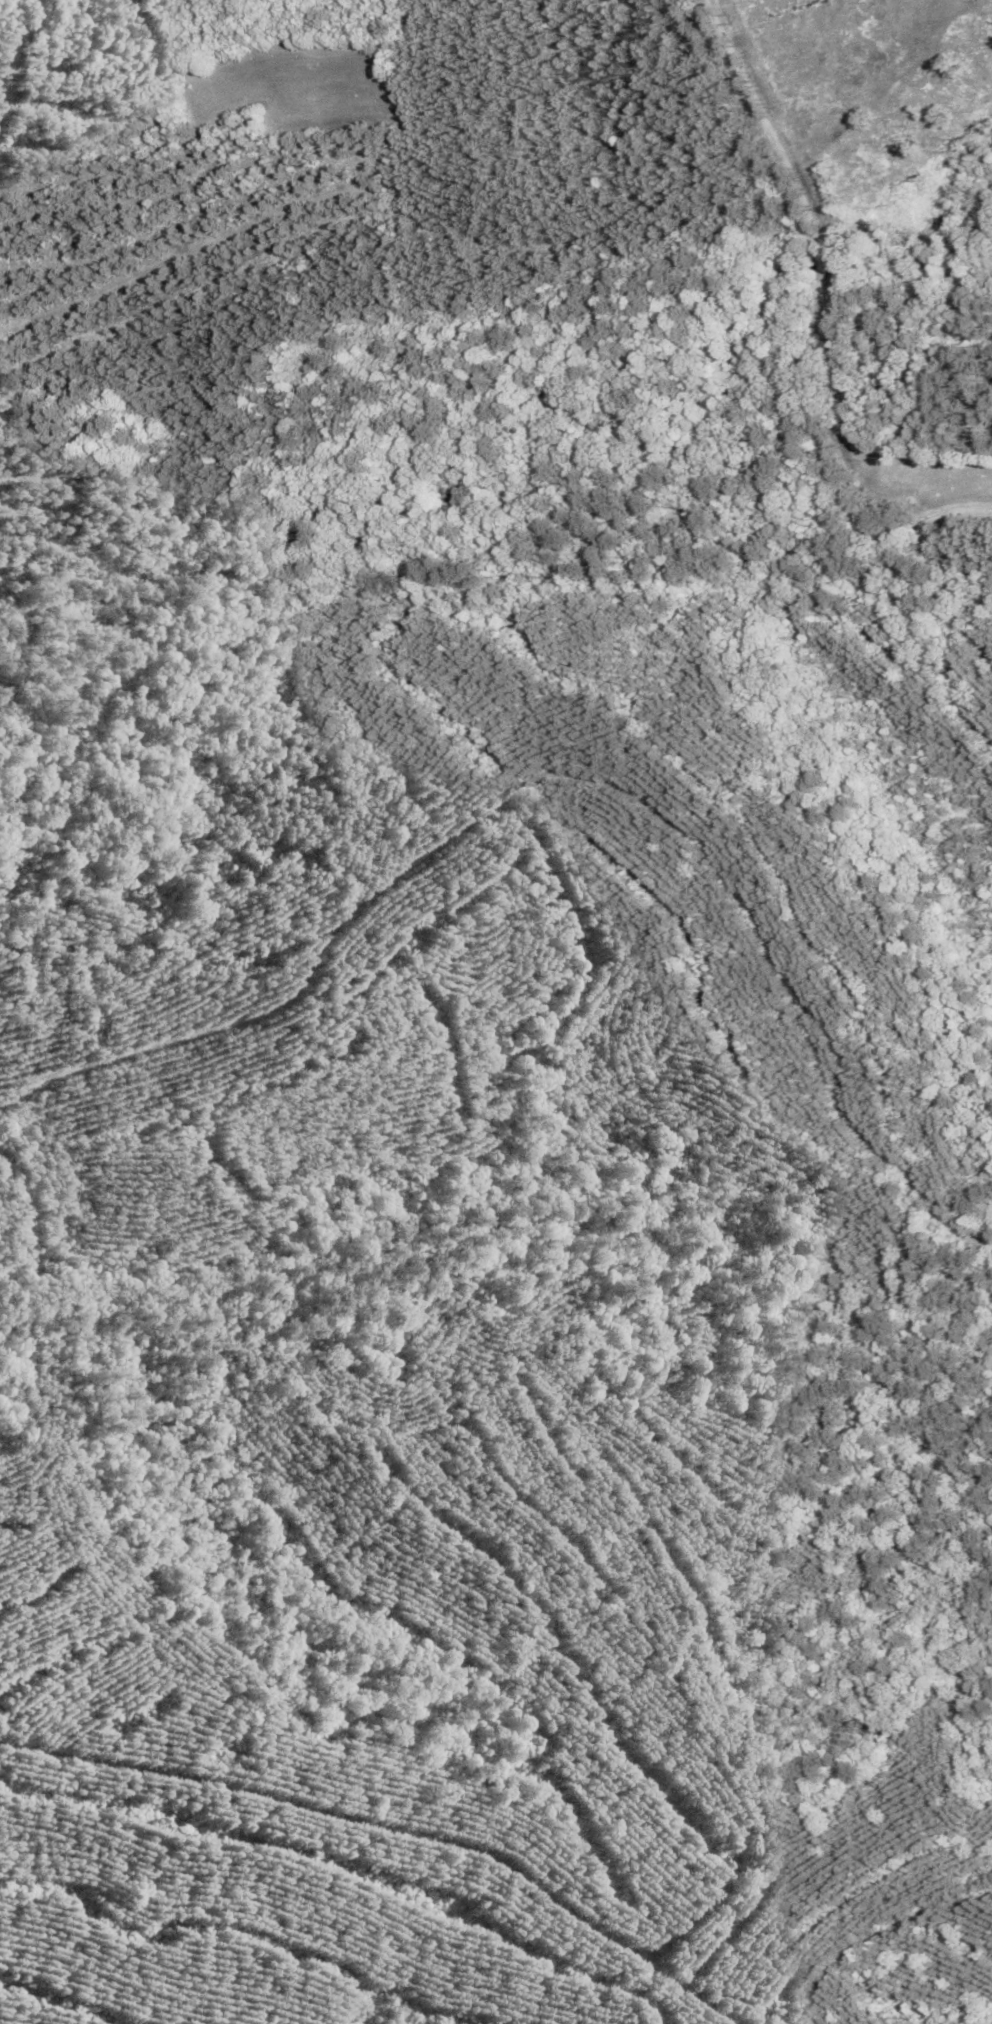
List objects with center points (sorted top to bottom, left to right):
road: (822, 348)
road: (930, 512)
road: (848, 1905)

